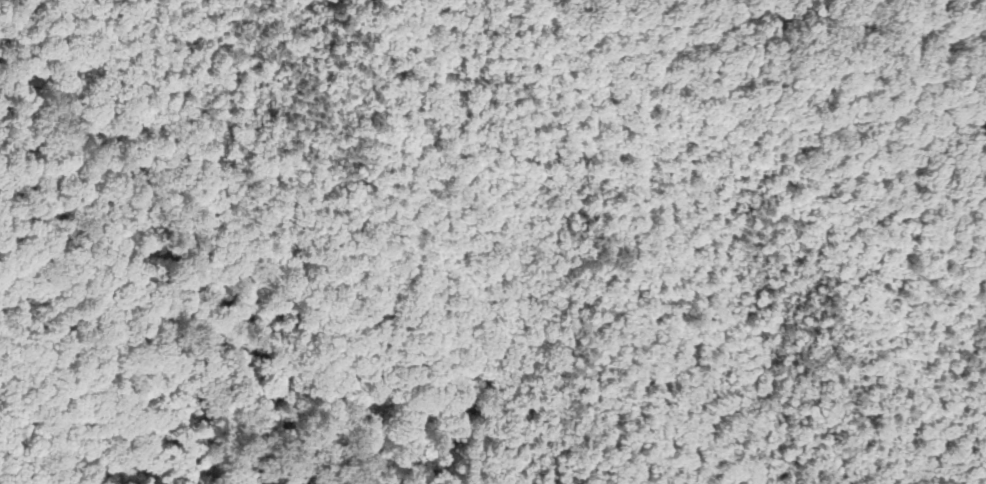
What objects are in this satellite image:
road: (457, 416)

